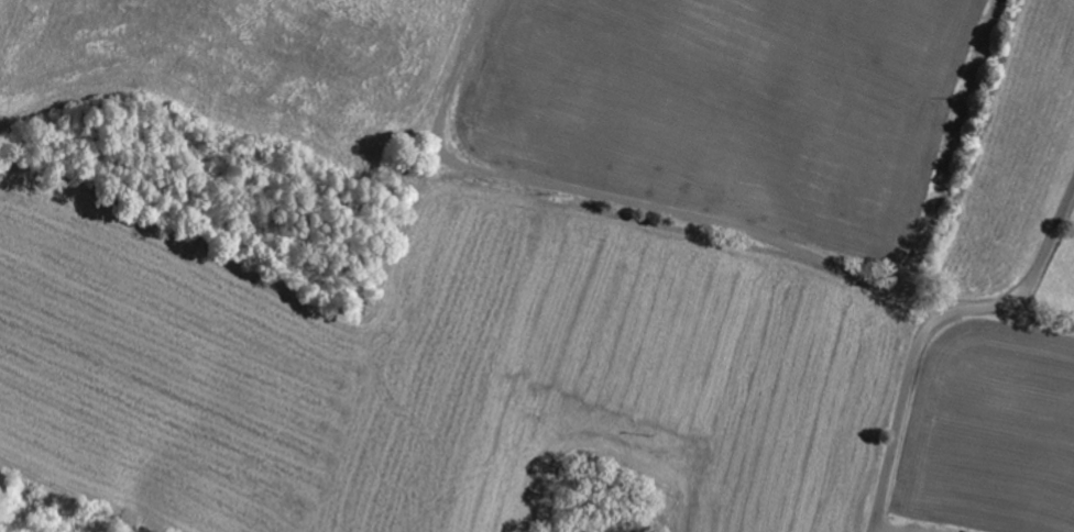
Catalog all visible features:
road: (1053, 282)
road: (931, 326)

